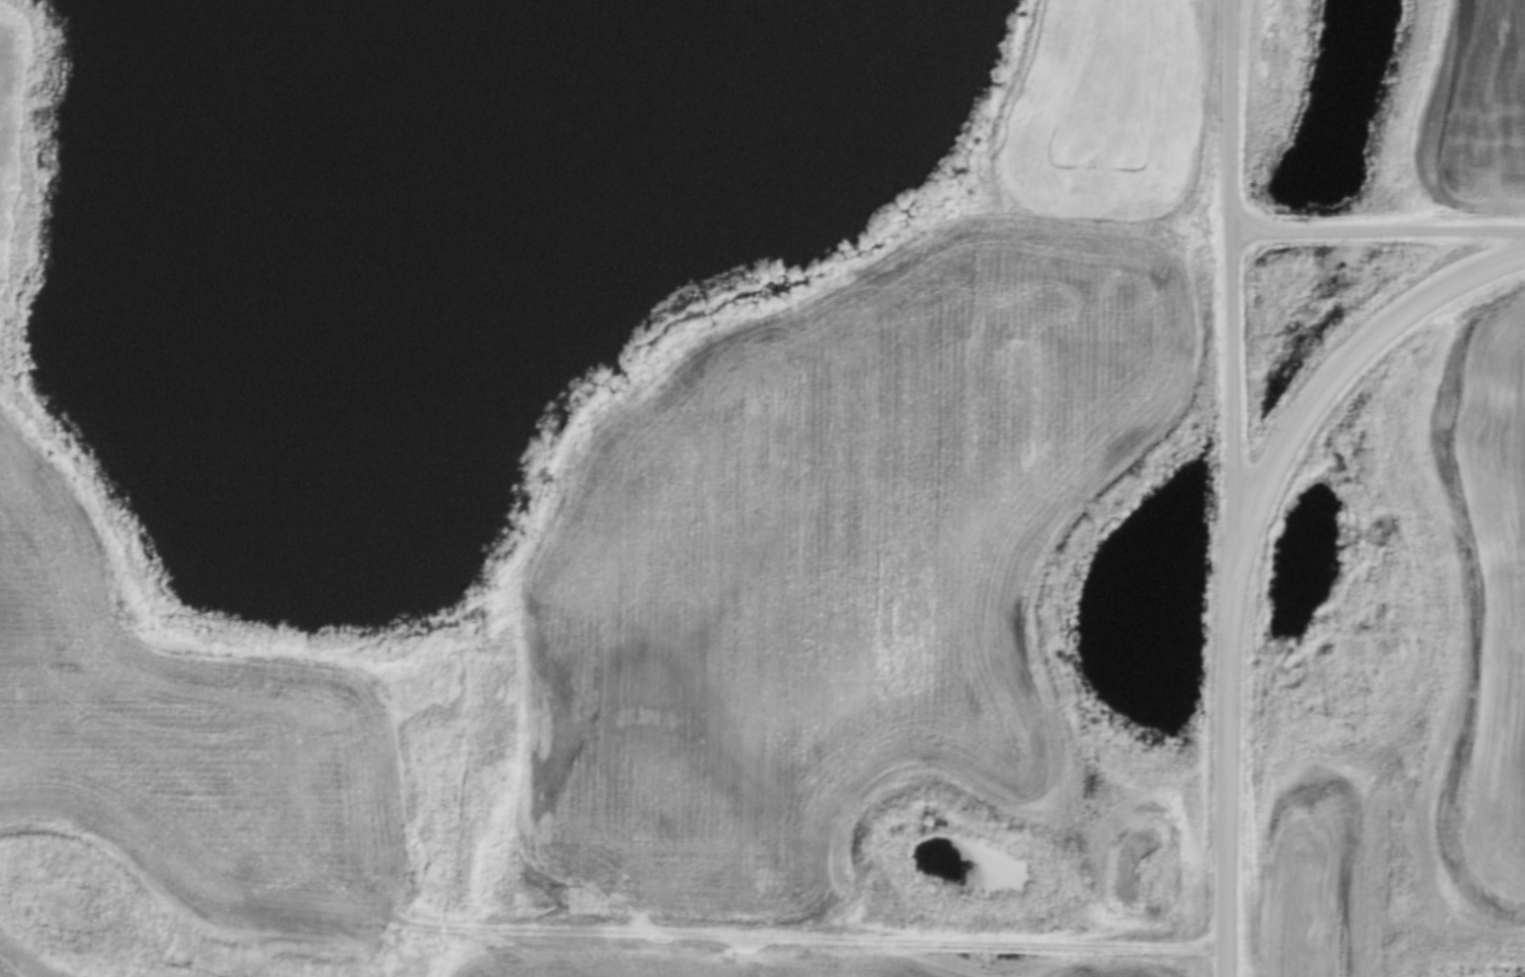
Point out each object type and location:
road: (1382, 228)
road: (1239, 289)
road: (1340, 380)
road: (1236, 777)
road: (724, 937)

